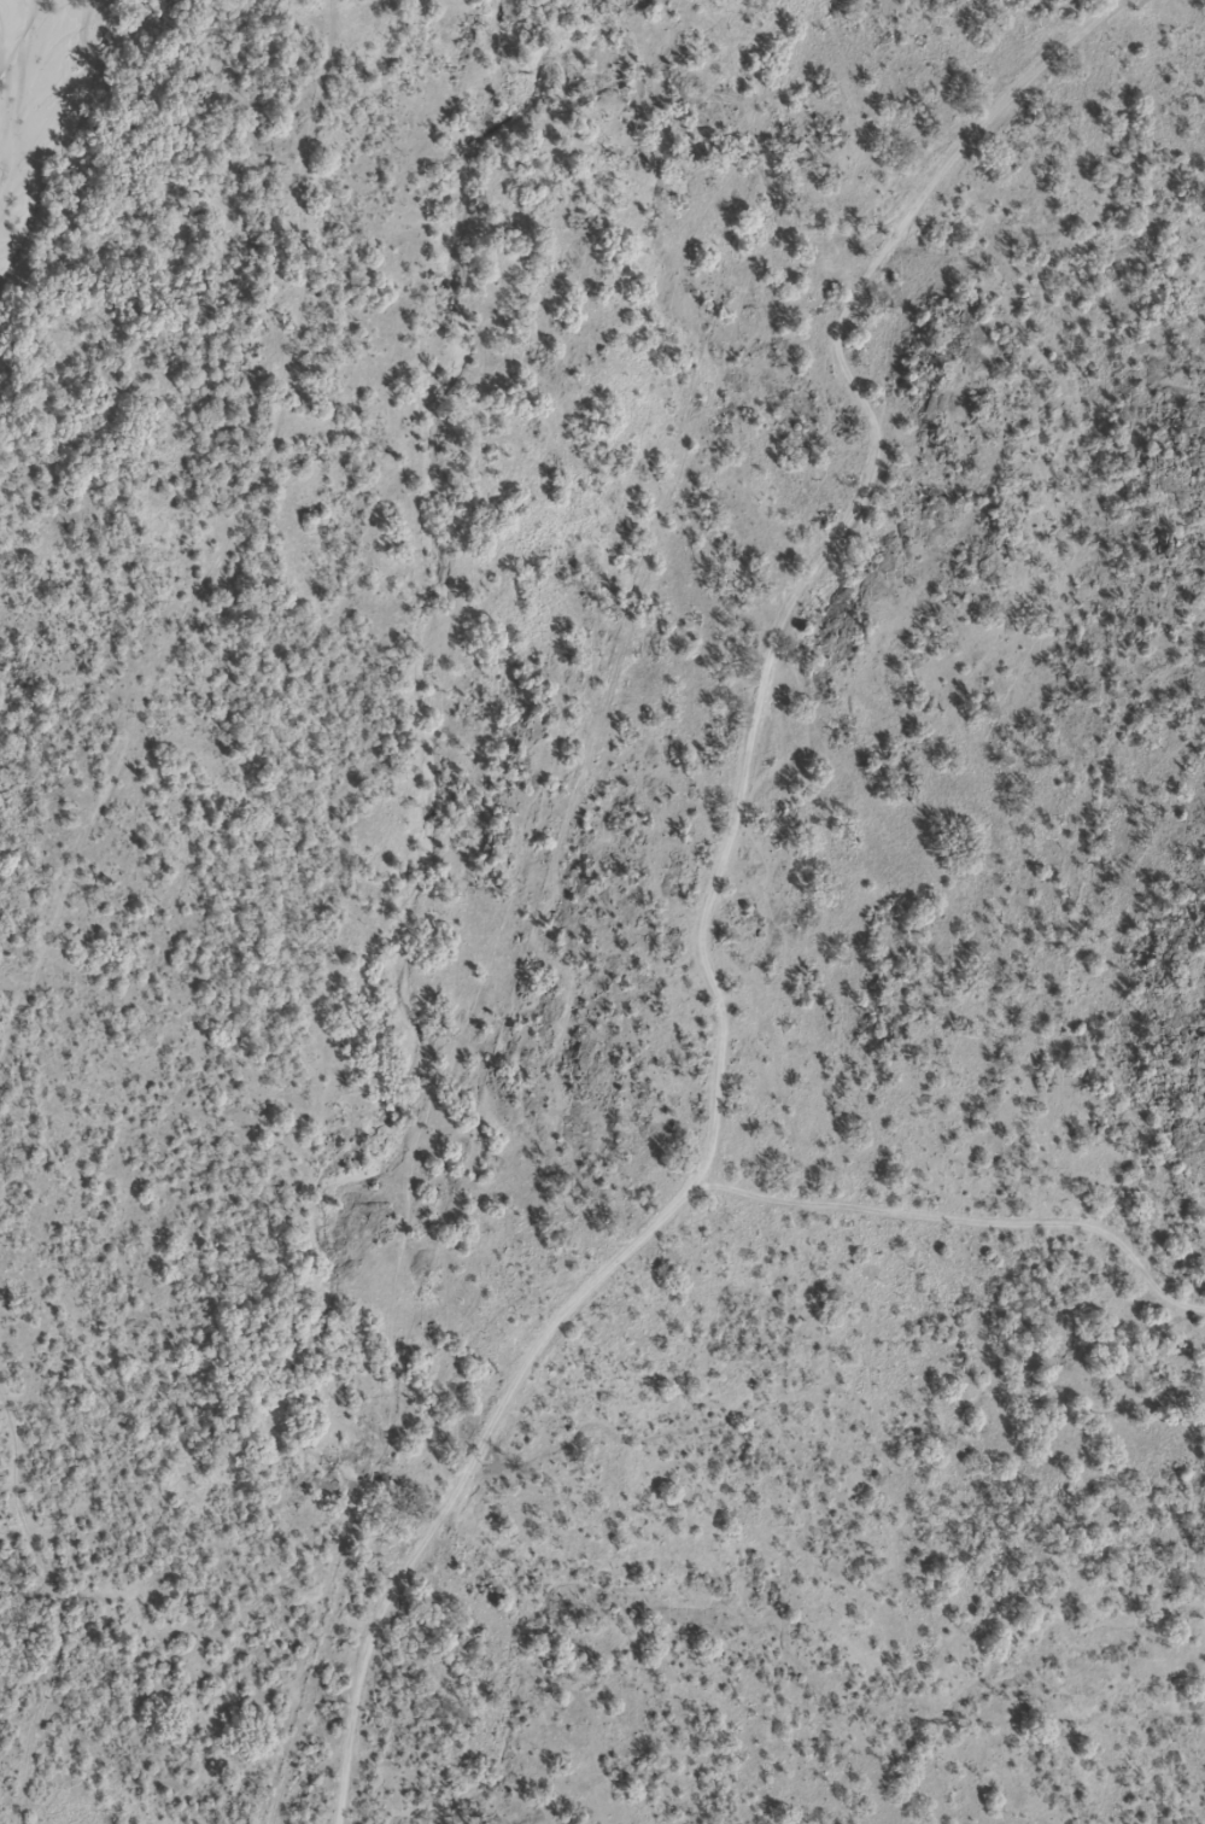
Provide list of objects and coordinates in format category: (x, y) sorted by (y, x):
river: (7, 22)
road: (703, 906)

